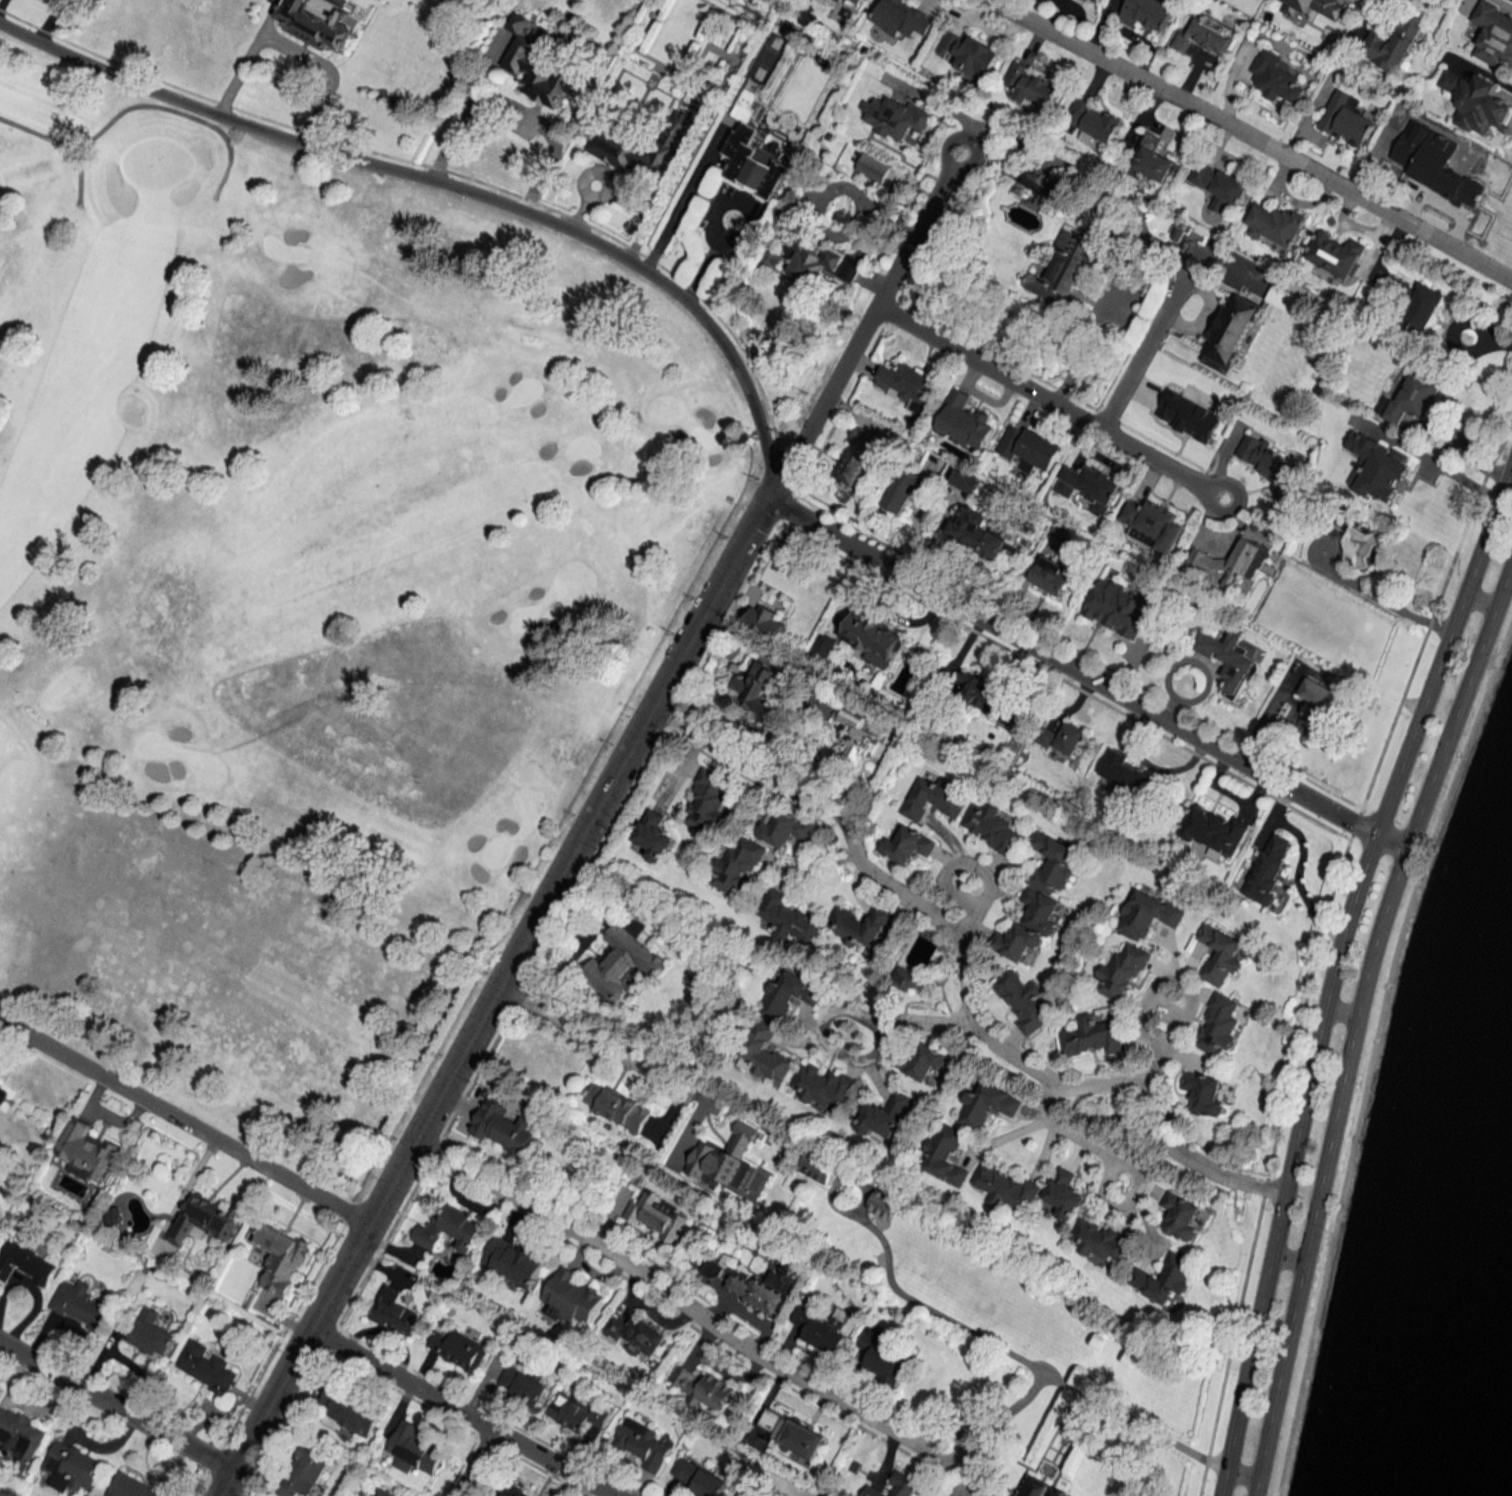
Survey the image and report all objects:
building: (1096, 1)
building: (852, 2)
building: (1316, 7)
building: (201, 11)
building: (1148, 13)
building: (903, 18)
building: (317, 21)
building: (1493, 34)
building: (1205, 36)
building: (1393, 42)
building: (968, 54)
road: (245, 55)
building: (539, 68)
road: (323, 69)
building: (1276, 77)
building: (1031, 85)
building: (1476, 102)
road: (513, 108)
road: (174, 110)
building: (895, 117)
building: (1347, 119)
building: (1094, 120)
road: (1250, 137)
road: (61, 143)
building: (642, 148)
building: (753, 154)
building: (1149, 155)
building: (1437, 163)
building: (872, 167)
road: (452, 182)
building: (1220, 185)
building: (1041, 186)
road: (683, 198)
road: (710, 217)
building: (1276, 224)
building: (1336, 254)
building: (822, 263)
building: (1064, 272)
building: (1424, 309)
road: (865, 323)
building: (1232, 328)
road: (1087, 343)
road: (1145, 346)
building: (908, 385)
building: (1411, 396)
road: (1049, 403)
building: (963, 421)
building: (1029, 447)
building: (856, 456)
building: (1268, 462)
building: (966, 480)
building: (1090, 486)
building: (904, 489)
building: (1153, 523)
building: (977, 532)
building: (1363, 547)
building: (1232, 562)
building: (1052, 575)
park: (304, 593)
road: (1381, 597)
road: (1479, 600)
building: (1115, 607)
building: (1331, 613)
building: (765, 621)
building: (875, 638)
building: (823, 646)
building: (1229, 661)
road: (802, 671)
road: (1083, 676)
building: (757, 689)
building: (988, 697)
building: (1315, 710)
building: (859, 734)
building: (1065, 739)
building: (1126, 774)
building: (934, 798)
building: (707, 802)
building: (782, 827)
building: (992, 828)
building: (1214, 831)
building: (651, 838)
building: (907, 845)
building: (736, 866)
road: (809, 867)
road: (977, 868)
building: (1268, 868)
building: (1039, 899)
building: (1147, 914)
building: (788, 918)
building: (860, 925)
building: (1219, 953)
road: (1334, 953)
building: (620, 963)
building: (1121, 971)
road: (964, 978)
building: (905, 979)
road: (1165, 980)
road: (499, 984)
building: (789, 995)
building: (1023, 1000)
road: (1339, 1009)
road: (1354, 1020)
road: (934, 1025)
building: (1218, 1025)
road: (824, 1035)
building: (1091, 1036)
road: (602, 1046)
building: (764, 1055)
building: (922, 1061)
road: (1154, 1065)
building: (824, 1086)
building: (3, 1092)
building: (1208, 1094)
building: (987, 1105)
building: (617, 1107)
building: (883, 1115)
road: (183, 1121)
building: (503, 1127)
road: (1073, 1136)
building: (84, 1150)
building: (945, 1155)
building: (724, 1159)
building: (817, 1166)
building: (1005, 1187)
building: (1064, 1194)
building: (113, 1216)
building: (656, 1216)
building: (1181, 1216)
building: (204, 1220)
building: (450, 1230)
building: (1100, 1240)
road: (1287, 1255)
building: (281, 1258)
building: (512, 1261)
building: (25, 1262)
building: (712, 1268)
building: (1164, 1277)
building: (761, 1290)
building: (573, 1296)
road: (673, 1303)
building: (81, 1305)
building: (394, 1312)
building: (824, 1329)
building: (151, 1333)
building: (635, 1335)
building: (457, 1348)
road: (3, 1353)
building: (882, 1357)
road: (1027, 1365)
building: (206, 1367)
building: (522, 1384)
building: (702, 1387)
road: (116, 1407)
road: (27, 1408)
building: (348, 1412)
building: (575, 1412)
road: (460, 1413)
building: (793, 1432)
building: (20, 1435)
building: (642, 1443)
road: (88, 1446)
building: (413, 1449)
road: (474, 1463)
building: (72, 1468)
road: (1240, 1472)
building: (305, 1474)
building: (698, 1478)
road: (1220, 1481)
road: (225, 1483)
building: (896, 1486)
building: (1032, 1486)
building: (132, 1487)
building: (511, 1491)
building: (385, 1492)
building: (1058, 1492)

